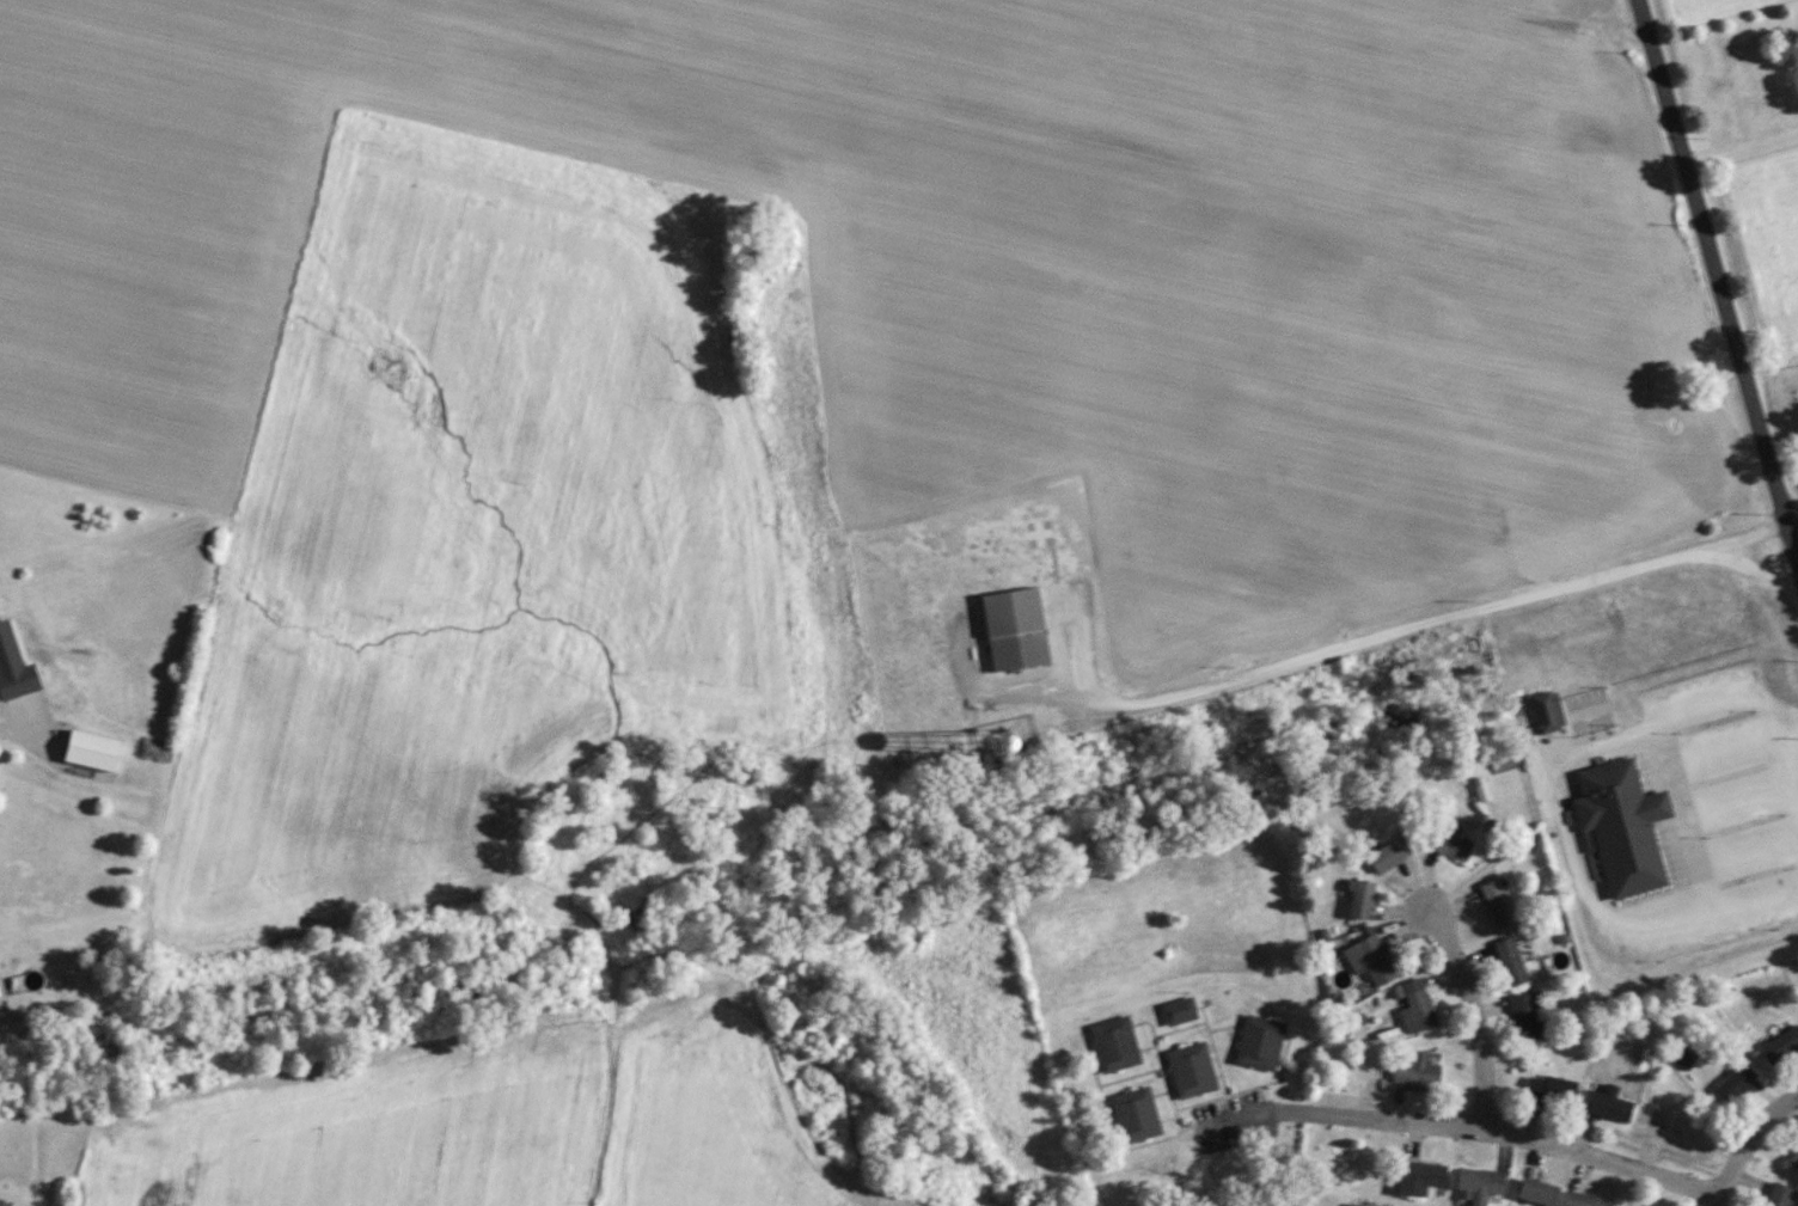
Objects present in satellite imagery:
road: (1739, 147)
road: (1716, 280)
helipad: (1039, 531)
road: (1794, 539)
building: (1015, 625)
road: (1418, 625)
road: (14, 735)
road: (1793, 740)
building: (96, 751)
building: (1621, 826)
building: (1449, 843)
building: (1389, 852)
building: (1357, 900)
building: (1497, 904)
building: (1369, 960)
building: (1509, 962)
building: (1415, 1008)
building: (1178, 1011)
road: (1474, 1016)
building: (1528, 1016)
building: (0, 1028)
building: (1258, 1043)
building: (1114, 1045)
building: (1780, 1047)
building: (1191, 1071)
building: (1417, 1073)
building: (1733, 1084)
building: (1549, 1090)
building: (1607, 1103)
building: (1135, 1115)
road: (1346, 1116)
building: (1672, 1125)
road: (1750, 1144)
road: (1604, 1159)
building: (1793, 1161)
building: (1418, 1180)
building: (1478, 1184)
building: (1536, 1192)
building: (1778, 1195)
building: (1583, 1199)
building: (4, 1201)
building: (1369, 1205)

